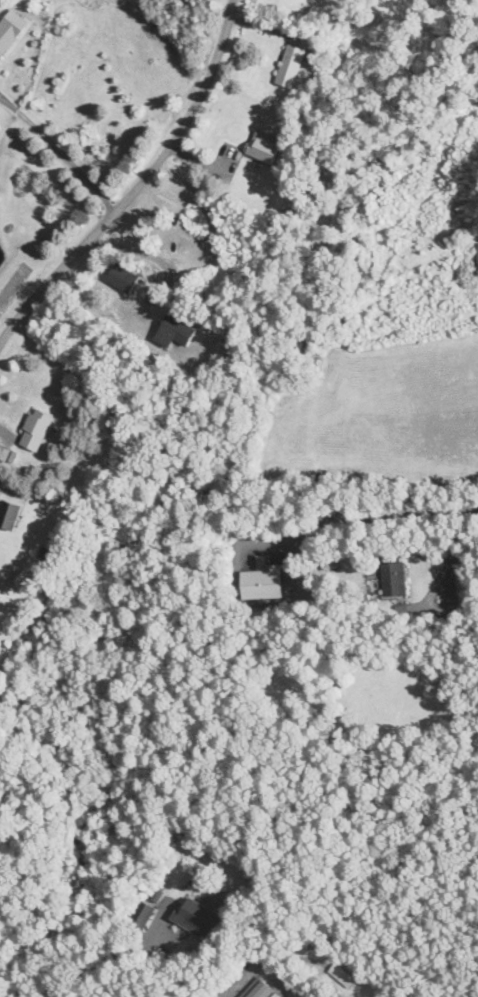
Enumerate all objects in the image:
building: (11, 30)
building: (291, 66)
building: (263, 149)
road: (60, 152)
road: (141, 182)
road: (139, 251)
building: (123, 278)
building: (175, 331)
building: (36, 430)
building: (9, 515)
road: (375, 517)
road: (455, 557)
building: (390, 579)
building: (262, 582)
building: (143, 915)
building: (198, 918)
road: (97, 963)
building: (261, 990)
road: (215, 995)

